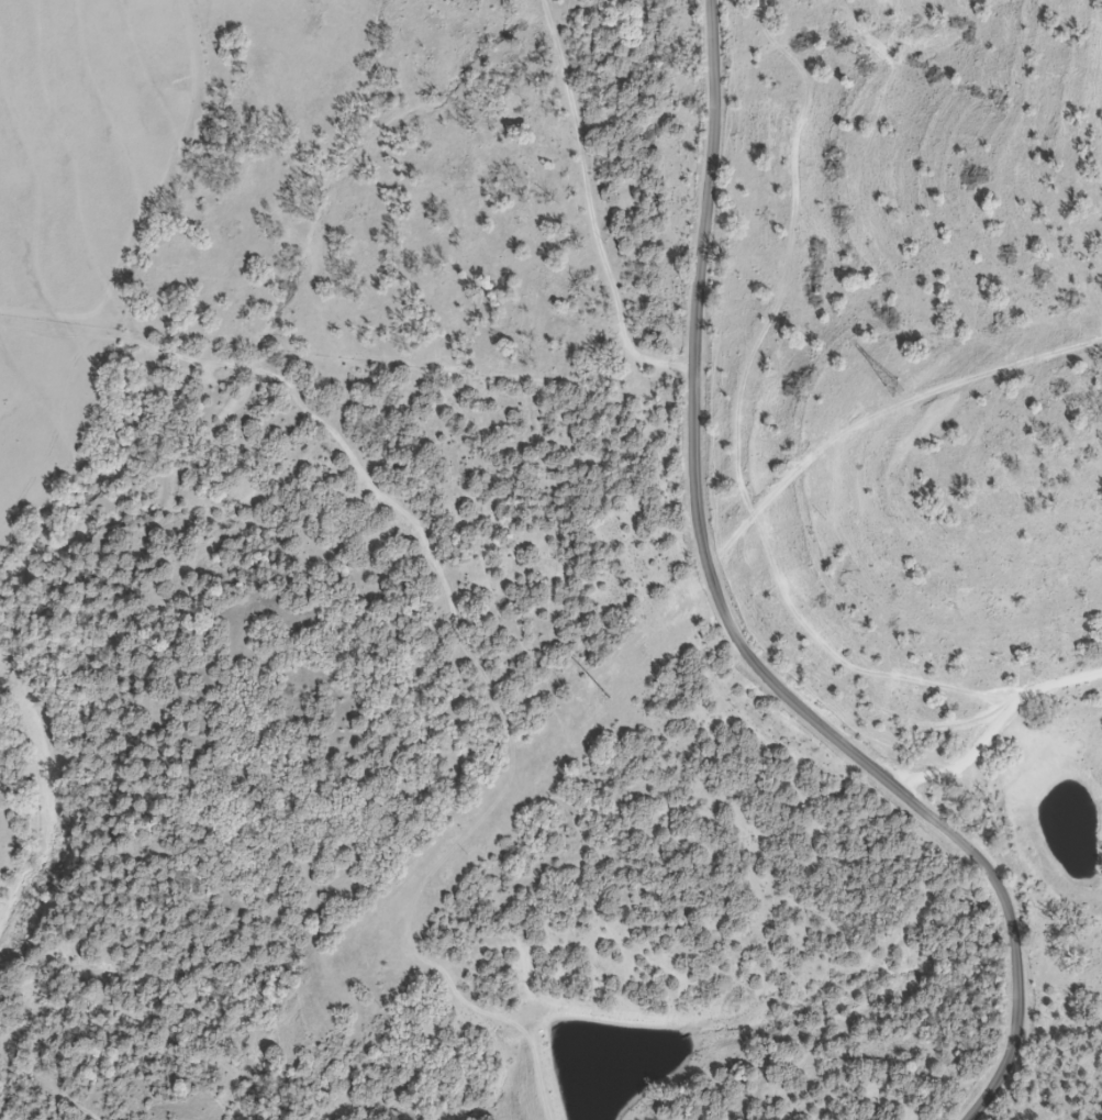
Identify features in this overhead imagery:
road: (593, 208)
power tower: (895, 389)
road: (728, 623)
power tower: (605, 696)
road: (998, 730)

